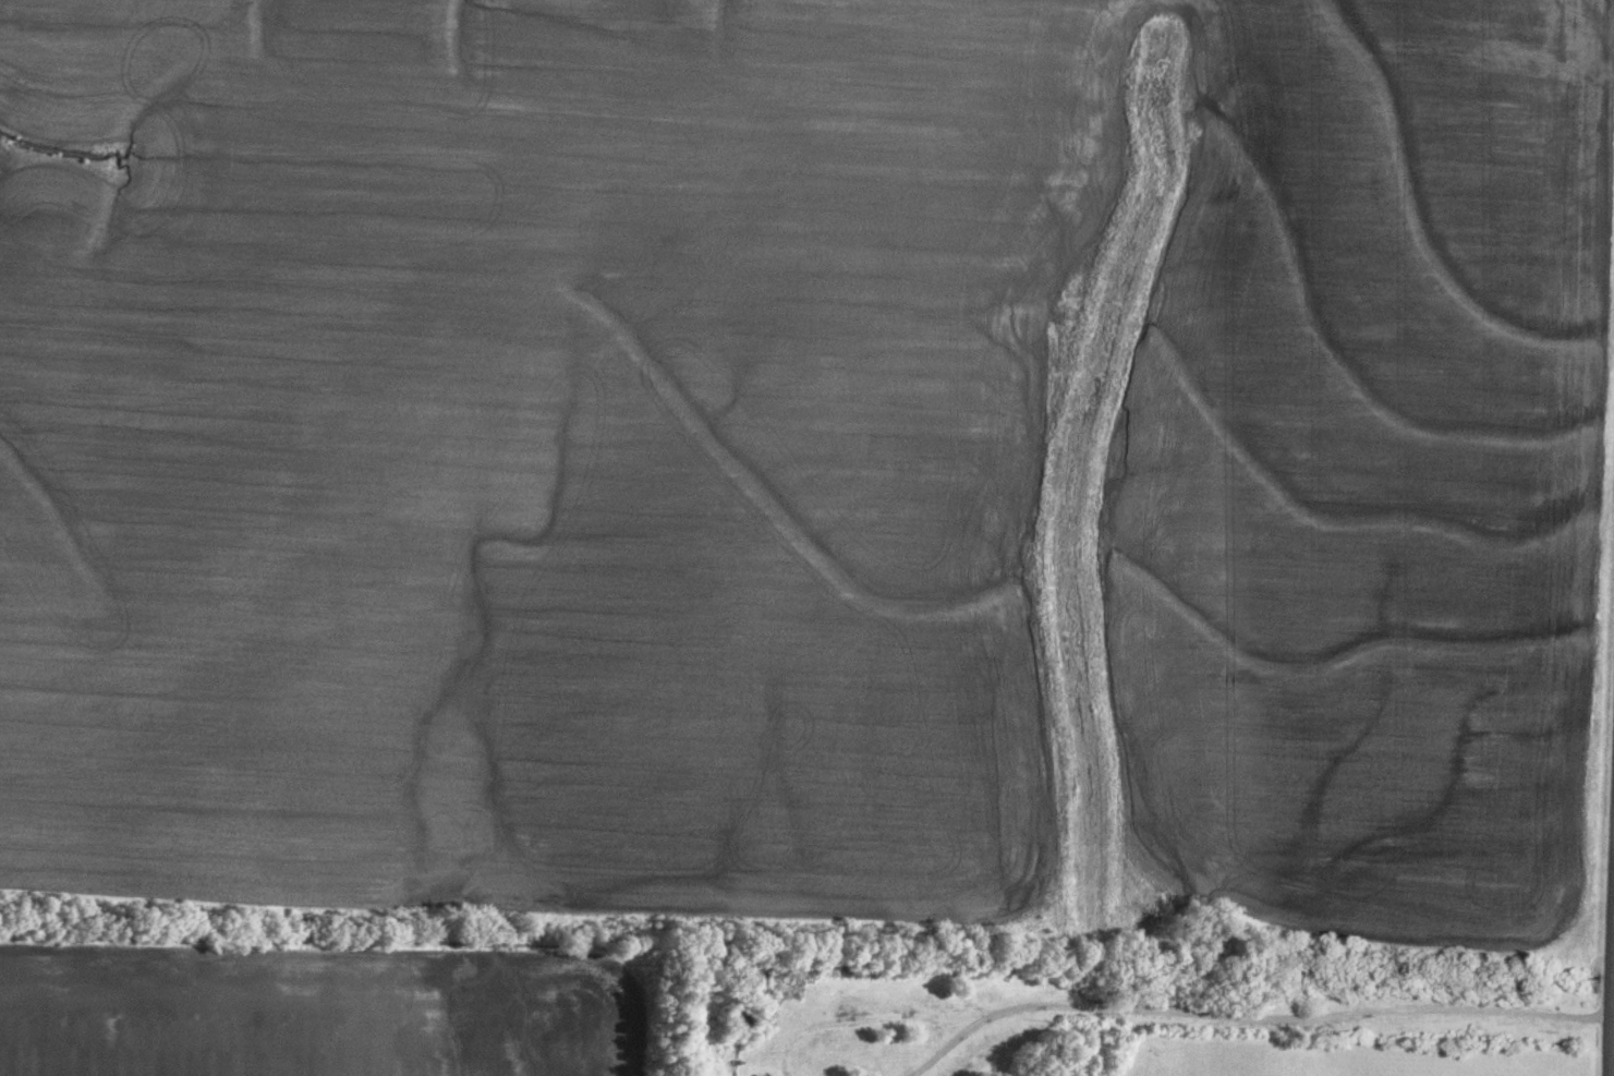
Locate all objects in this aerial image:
road: (1611, 995)
road: (1242, 1012)

